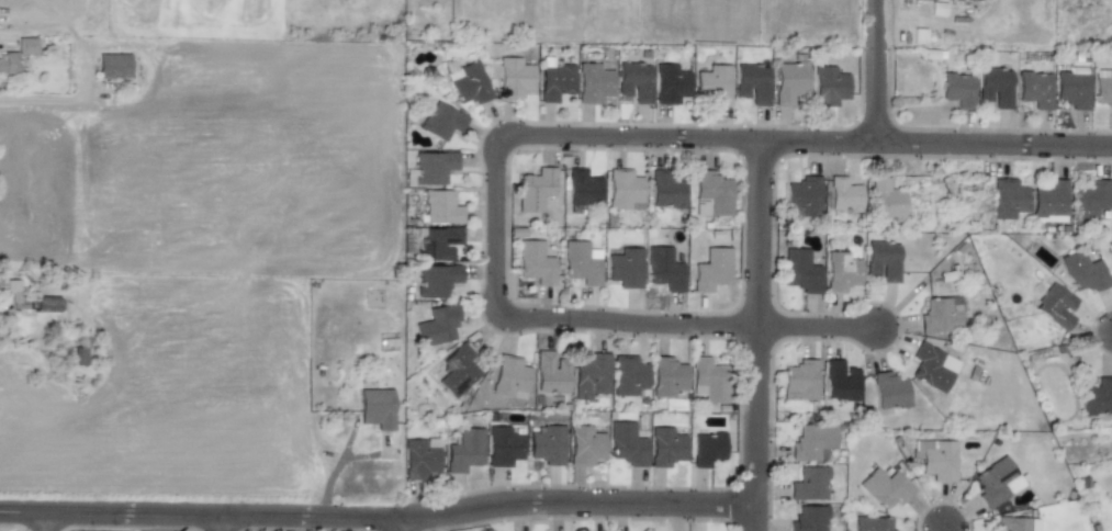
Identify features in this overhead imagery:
building: (26, 45)
building: (8, 64)
building: (113, 65)
road: (76, 66)
road: (873, 71)
building: (514, 77)
building: (634, 81)
building: (788, 81)
building: (555, 82)
building: (593, 82)
building: (670, 83)
building: (751, 83)
building: (470, 84)
building: (712, 84)
building: (828, 86)
building: (995, 87)
building: (1103, 88)
building: (957, 89)
building: (1035, 89)
building: (1072, 89)
building: (441, 121)
road: (802, 140)
building: (430, 168)
building: (583, 188)
building: (535, 189)
building: (622, 189)
building: (664, 191)
building: (711, 194)
building: (843, 194)
building: (804, 195)
building: (1008, 199)
building: (1049, 199)
building: (885, 201)
building: (1089, 201)
building: (440, 207)
power tower: (977, 210)
building: (438, 242)
building: (883, 260)
building: (535, 262)
building: (581, 262)
building: (625, 268)
building: (663, 269)
building: (711, 270)
building: (800, 271)
building: (841, 271)
building: (1083, 271)
building: (437, 280)
building: (12, 289)
building: (45, 303)
building: (1055, 306)
building: (940, 315)
road: (533, 318)
building: (437, 326)
road: (815, 326)
road: (755, 335)
building: (932, 368)
building: (458, 370)
building: (550, 372)
building: (589, 375)
building: (627, 375)
building: (667, 375)
building: (509, 377)
building: (708, 380)
building: (799, 380)
building: (840, 381)
building: (889, 391)
building: (1097, 397)
building: (375, 408)
building: (812, 442)
building: (547, 444)
building: (626, 444)
building: (584, 445)
building: (503, 447)
building: (665, 447)
building: (706, 448)
building: (465, 450)
building: (420, 457)
building: (935, 459)
building: (997, 482)
building: (809, 484)
building: (885, 487)
road: (377, 515)
building: (809, 519)
road: (45, 520)
road: (218, 521)
road: (397, 523)
building: (872, 523)
building: (1015, 523)
road: (943, 530)

